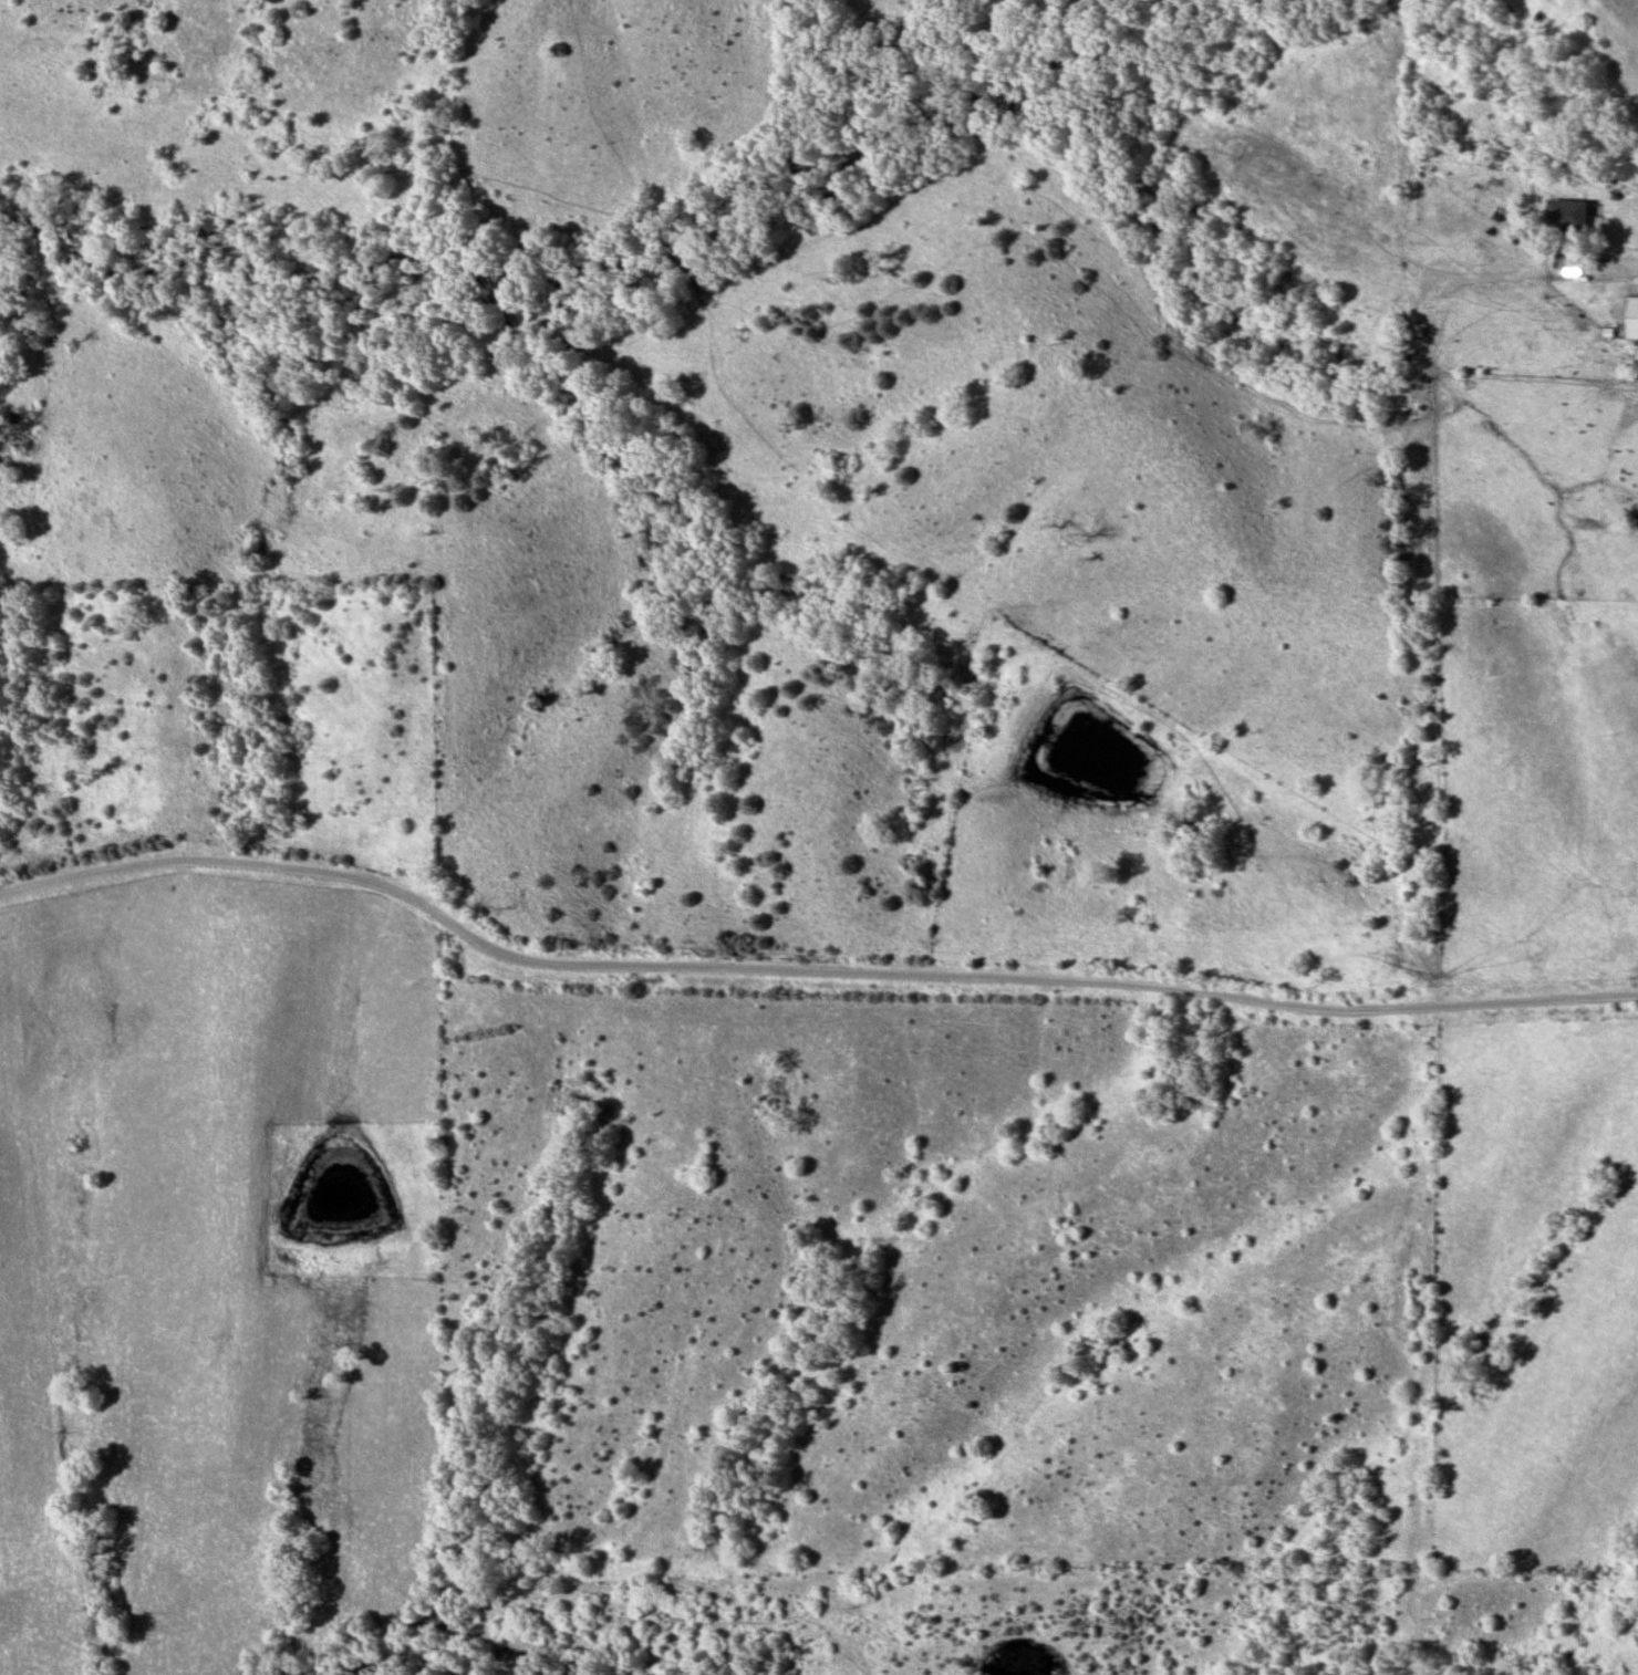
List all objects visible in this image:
building: (1568, 216)
road: (1601, 262)
building: (1634, 319)
road: (808, 974)

